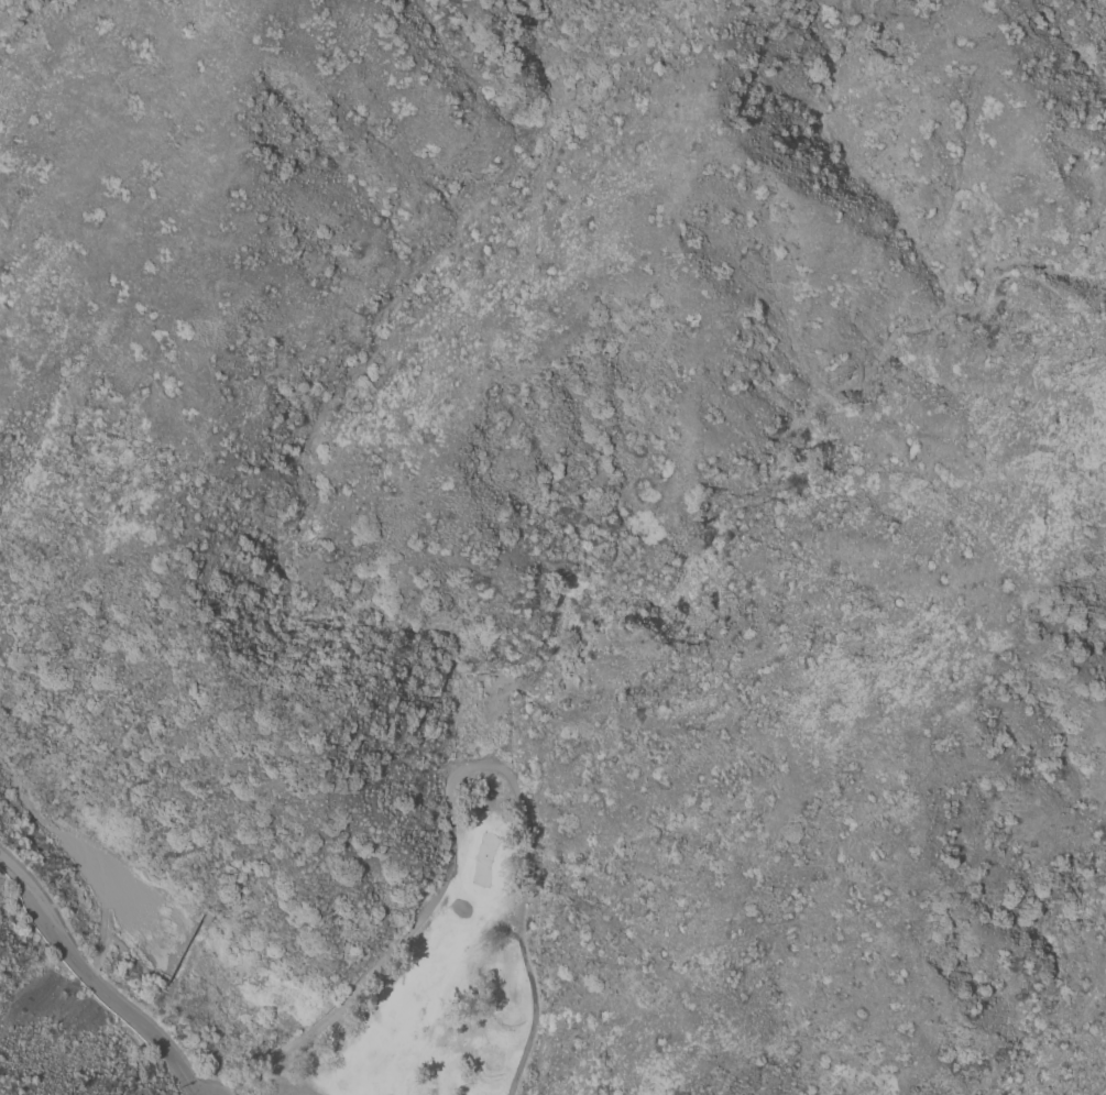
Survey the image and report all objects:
road: (451, 780)
road: (107, 949)
park: (439, 970)
road: (89, 984)
road: (1, 1093)

